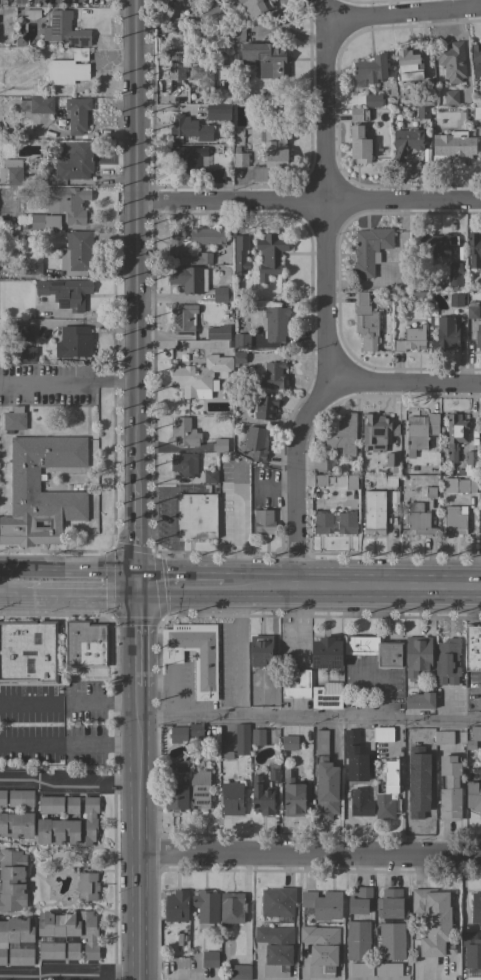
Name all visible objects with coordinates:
building: (254, 8)
building: (211, 9)
building: (31, 14)
road: (403, 14)
building: (64, 29)
building: (237, 32)
building: (183, 57)
building: (266, 59)
building: (476, 59)
building: (451, 61)
building: (407, 66)
building: (68, 68)
building: (370, 69)
building: (177, 71)
building: (209, 73)
building: (450, 97)
building: (372, 100)
building: (423, 100)
building: (41, 105)
building: (218, 112)
building: (422, 113)
building: (476, 113)
building: (77, 114)
building: (358, 114)
building: (190, 128)
building: (405, 141)
building: (359, 145)
building: (453, 145)
building: (271, 154)
building: (188, 156)
building: (239, 158)
building: (73, 161)
building: (11, 172)
building: (216, 176)
road: (308, 204)
building: (62, 208)
building: (206, 236)
road: (135, 242)
building: (177, 242)
building: (439, 244)
building: (369, 248)
building: (473, 249)
building: (76, 251)
building: (240, 254)
building: (269, 255)
building: (200, 258)
building: (29, 266)
building: (454, 273)
building: (188, 279)
building: (65, 292)
building: (222, 293)
road: (328, 296)
building: (455, 300)
building: (472, 312)
building: (183, 319)
building: (365, 322)
building: (275, 323)
building: (217, 332)
building: (24, 333)
building: (445, 335)
building: (478, 336)
building: (410, 339)
building: (241, 341)
building: (74, 342)
building: (28, 354)
building: (238, 357)
building: (274, 375)
building: (201, 376)
road: (73, 381)
road: (406, 384)
building: (266, 407)
building: (14, 419)
building: (480, 426)
building: (420, 430)
building: (377, 431)
building: (184, 432)
building: (343, 434)
building: (455, 435)
building: (256, 443)
building: (220, 445)
building: (184, 464)
building: (469, 464)
building: (318, 465)
building: (391, 469)
building: (210, 476)
building: (24, 479)
building: (320, 480)
building: (344, 480)
building: (457, 485)
building: (429, 492)
building: (373, 512)
building: (196, 515)
building: (418, 519)
building: (454, 520)
building: (480, 520)
building: (263, 522)
building: (322, 522)
building: (346, 522)
road: (236, 528)
road: (138, 536)
road: (70, 574)
traffic signals: (139, 588)
road: (184, 588)
road: (355, 588)
road: (89, 595)
road: (19, 598)
road: (138, 637)
building: (84, 643)
building: (360, 644)
building: (473, 648)
building: (261, 650)
building: (28, 651)
road: (239, 652)
building: (326, 653)
building: (194, 655)
building: (389, 655)
building: (417, 656)
building: (447, 660)
building: (295, 683)
building: (324, 698)
building: (420, 700)
road: (68, 703)
road: (309, 717)
building: (195, 730)
building: (383, 734)
building: (178, 735)
building: (257, 736)
building: (443, 737)
building: (473, 737)
building: (241, 739)
building: (289, 742)
building: (416, 742)
road: (68, 744)
building: (227, 756)
building: (429, 758)
building: (180, 765)
building: (273, 771)
building: (324, 780)
road: (68, 781)
building: (449, 787)
building: (199, 788)
building: (386, 791)
building: (473, 794)
building: (175, 796)
building: (294, 796)
building: (261, 797)
building: (2, 798)
building: (231, 798)
building: (360, 803)
building: (50, 804)
building: (18, 815)
building: (70, 824)
road: (137, 833)
road: (309, 857)
building: (12, 880)
building: (87, 886)
building: (359, 900)
building: (277, 902)
building: (323, 904)
building: (390, 904)
building: (176, 906)
building: (231, 907)
building: (205, 908)
building: (476, 908)
building: (434, 921)
building: (71, 931)
building: (15, 933)
building: (357, 940)
building: (391, 941)
building: (275, 949)
building: (321, 949)
building: (50, 950)
building: (471, 955)
building: (20, 956)
building: (208, 959)
building: (375, 969)
building: (239, 972)
road: (68, 973)

